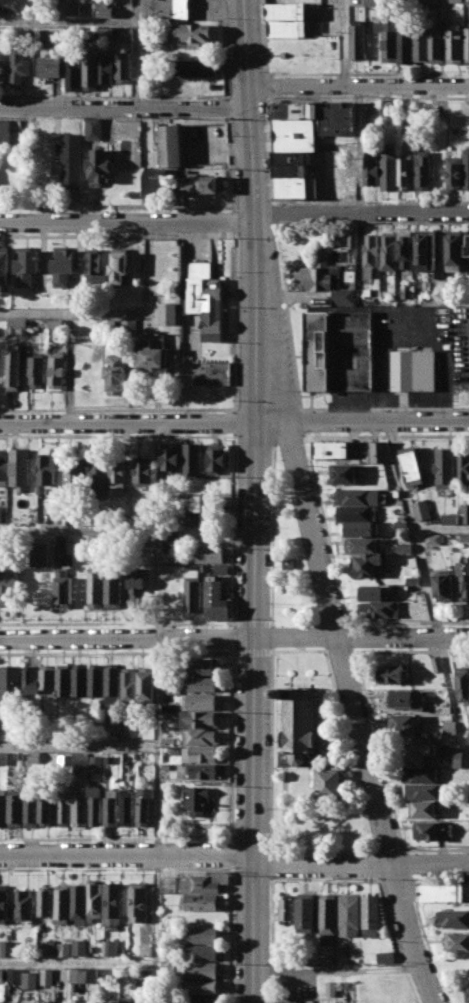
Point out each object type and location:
building: (456, 1)
building: (467, 2)
building: (424, 3)
building: (74, 7)
building: (106, 9)
building: (170, 9)
parking lot: (204, 9)
building: (288, 11)
road: (68, 23)
building: (286, 28)
building: (107, 31)
building: (127, 34)
building: (196, 34)
building: (2, 36)
building: (43, 36)
building: (357, 41)
road: (345, 42)
building: (389, 42)
building: (422, 43)
building: (405, 44)
building: (437, 44)
building: (455, 44)
building: (467, 44)
road: (225, 49)
road: (137, 54)
building: (19, 65)
building: (50, 66)
building: (124, 66)
building: (194, 67)
building: (3, 68)
building: (107, 68)
building: (150, 72)
building: (74, 73)
building: (91, 74)
road: (268, 74)
road: (358, 85)
road: (114, 97)
road: (125, 107)
road: (228, 107)
building: (388, 108)
building: (467, 109)
building: (295, 110)
building: (419, 113)
building: (337, 118)
building: (94, 129)
building: (6, 132)
building: (294, 135)
building: (171, 144)
road: (360, 150)
building: (294, 157)
building: (72, 161)
road: (230, 161)
building: (101, 163)
building: (466, 167)
building: (373, 168)
building: (290, 170)
building: (422, 171)
building: (390, 172)
building: (405, 172)
building: (453, 172)
building: (157, 184)
building: (204, 184)
building: (333, 185)
building: (296, 187)
road: (118, 207)
road: (234, 220)
road: (234, 221)
building: (352, 238)
building: (467, 244)
building: (437, 249)
building: (406, 250)
building: (454, 250)
building: (388, 251)
building: (422, 251)
building: (370, 254)
building: (63, 264)
building: (26, 265)
building: (4, 266)
building: (120, 266)
building: (95, 267)
building: (321, 272)
building: (407, 291)
building: (368, 293)
building: (426, 294)
building: (390, 295)
building: (344, 297)
building: (206, 301)
road: (371, 302)
road: (75, 313)
building: (168, 313)
road: (256, 318)
road: (236, 321)
building: (55, 323)
building: (17, 326)
building: (129, 326)
parking lot: (461, 345)
building: (339, 351)
building: (156, 352)
building: (14, 370)
building: (36, 370)
building: (414, 370)
building: (57, 372)
building: (117, 373)
building: (218, 373)
road: (127, 421)
road: (362, 421)
road: (235, 423)
building: (330, 449)
building: (379, 451)
building: (169, 458)
building: (216, 458)
building: (192, 459)
building: (412, 465)
building: (3, 467)
building: (20, 467)
building: (445, 468)
building: (463, 468)
building: (391, 469)
building: (144, 471)
building: (47, 472)
building: (120, 472)
building: (345, 473)
building: (75, 474)
building: (99, 474)
building: (397, 493)
building: (359, 496)
building: (201, 503)
building: (422, 510)
building: (357, 513)
building: (467, 513)
building: (1, 514)
building: (402, 518)
building: (450, 519)
building: (199, 520)
building: (401, 526)
road: (132, 527)
building: (360, 528)
road: (442, 529)
building: (465, 537)
building: (173, 539)
building: (433, 539)
building: (363, 544)
building: (67, 545)
building: (405, 548)
building: (210, 554)
building: (40, 555)
building: (170, 557)
park: (288, 557)
building: (413, 562)
building: (288, 565)
building: (370, 565)
building: (221, 570)
building: (463, 580)
building: (413, 581)
building: (7, 583)
building: (443, 585)
building: (136, 586)
building: (64, 588)
road: (428, 588)
building: (97, 589)
building: (113, 589)
building: (192, 590)
building: (374, 592)
building: (216, 600)
building: (379, 609)
road: (330, 612)
road: (252, 623)
road: (233, 637)
road: (361, 637)
road: (126, 638)
road: (272, 642)
road: (370, 650)
road: (117, 652)
road: (253, 652)
building: (437, 663)
building: (206, 667)
building: (394, 673)
building: (112, 678)
building: (63, 679)
building: (79, 679)
building: (95, 679)
building: (30, 680)
building: (47, 680)
building: (10, 684)
building: (203, 684)
building: (145, 685)
building: (463, 685)
building: (129, 686)
building: (409, 699)
building: (202, 702)
building: (201, 719)
building: (113, 723)
building: (405, 724)
building: (301, 727)
building: (450, 728)
building: (131, 729)
building: (202, 736)
road: (78, 746)
building: (174, 750)
road: (468, 750)
building: (200, 754)
building: (417, 754)
building: (34, 756)
building: (144, 756)
building: (2, 758)
building: (79, 759)
building: (454, 759)
building: (95, 764)
building: (166, 766)
building: (202, 772)
building: (421, 775)
building: (329, 782)
building: (425, 791)
building: (200, 799)
building: (95, 805)
building: (145, 806)
building: (80, 807)
building: (127, 807)
building: (46, 808)
building: (64, 808)
building: (111, 808)
building: (424, 808)
building: (2, 809)
building: (15, 810)
building: (31, 811)
road: (156, 820)
road: (254, 820)
building: (431, 830)
road: (233, 854)
road: (234, 854)
building: (201, 885)
building: (445, 893)
building: (46, 900)
building: (94, 900)
building: (138, 901)
building: (113, 902)
building: (203, 902)
building: (4, 903)
building: (62, 904)
building: (79, 904)
building: (24, 906)
building: (286, 908)
building: (306, 912)
building: (350, 915)
building: (371, 916)
building: (329, 917)
building: (454, 917)
building: (203, 935)
road: (233, 935)
building: (456, 942)
building: (48, 947)
building: (80, 947)
building: (7, 948)
building: (112, 948)
building: (64, 949)
building: (204, 953)
building: (387, 956)
road: (78, 965)
building: (201, 970)
road: (338, 971)
building: (78, 975)
building: (2, 976)
building: (15, 976)
building: (48, 976)
building: (146, 976)
building: (30, 979)
building: (200, 987)
building: (331, 989)
building: (467, 993)
building: (127, 1000)
building: (202, 1000)
building: (2, 1002)
building: (47, 1002)
building: (79, 1002)
building: (287, 1002)

